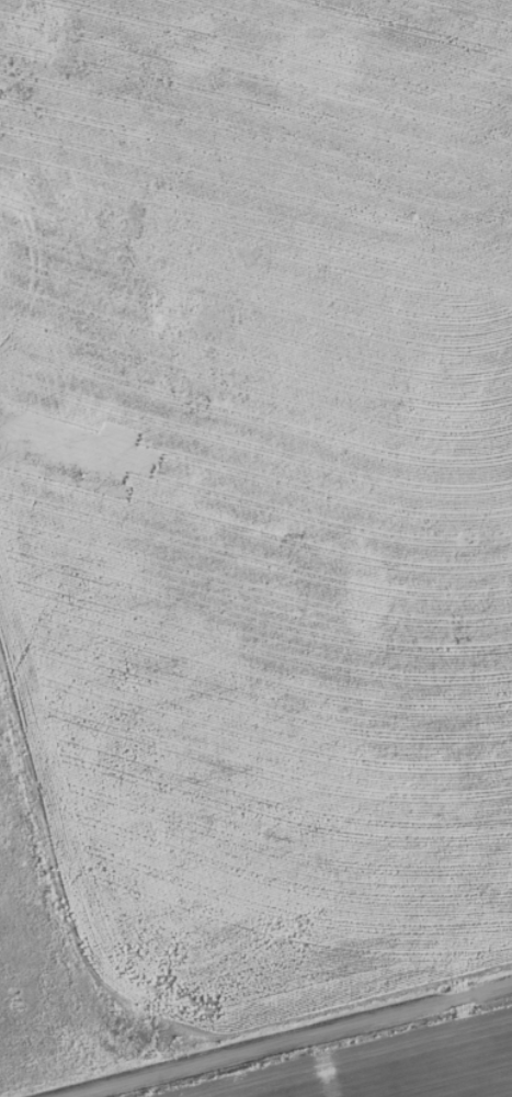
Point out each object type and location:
road: (278, 1038)

